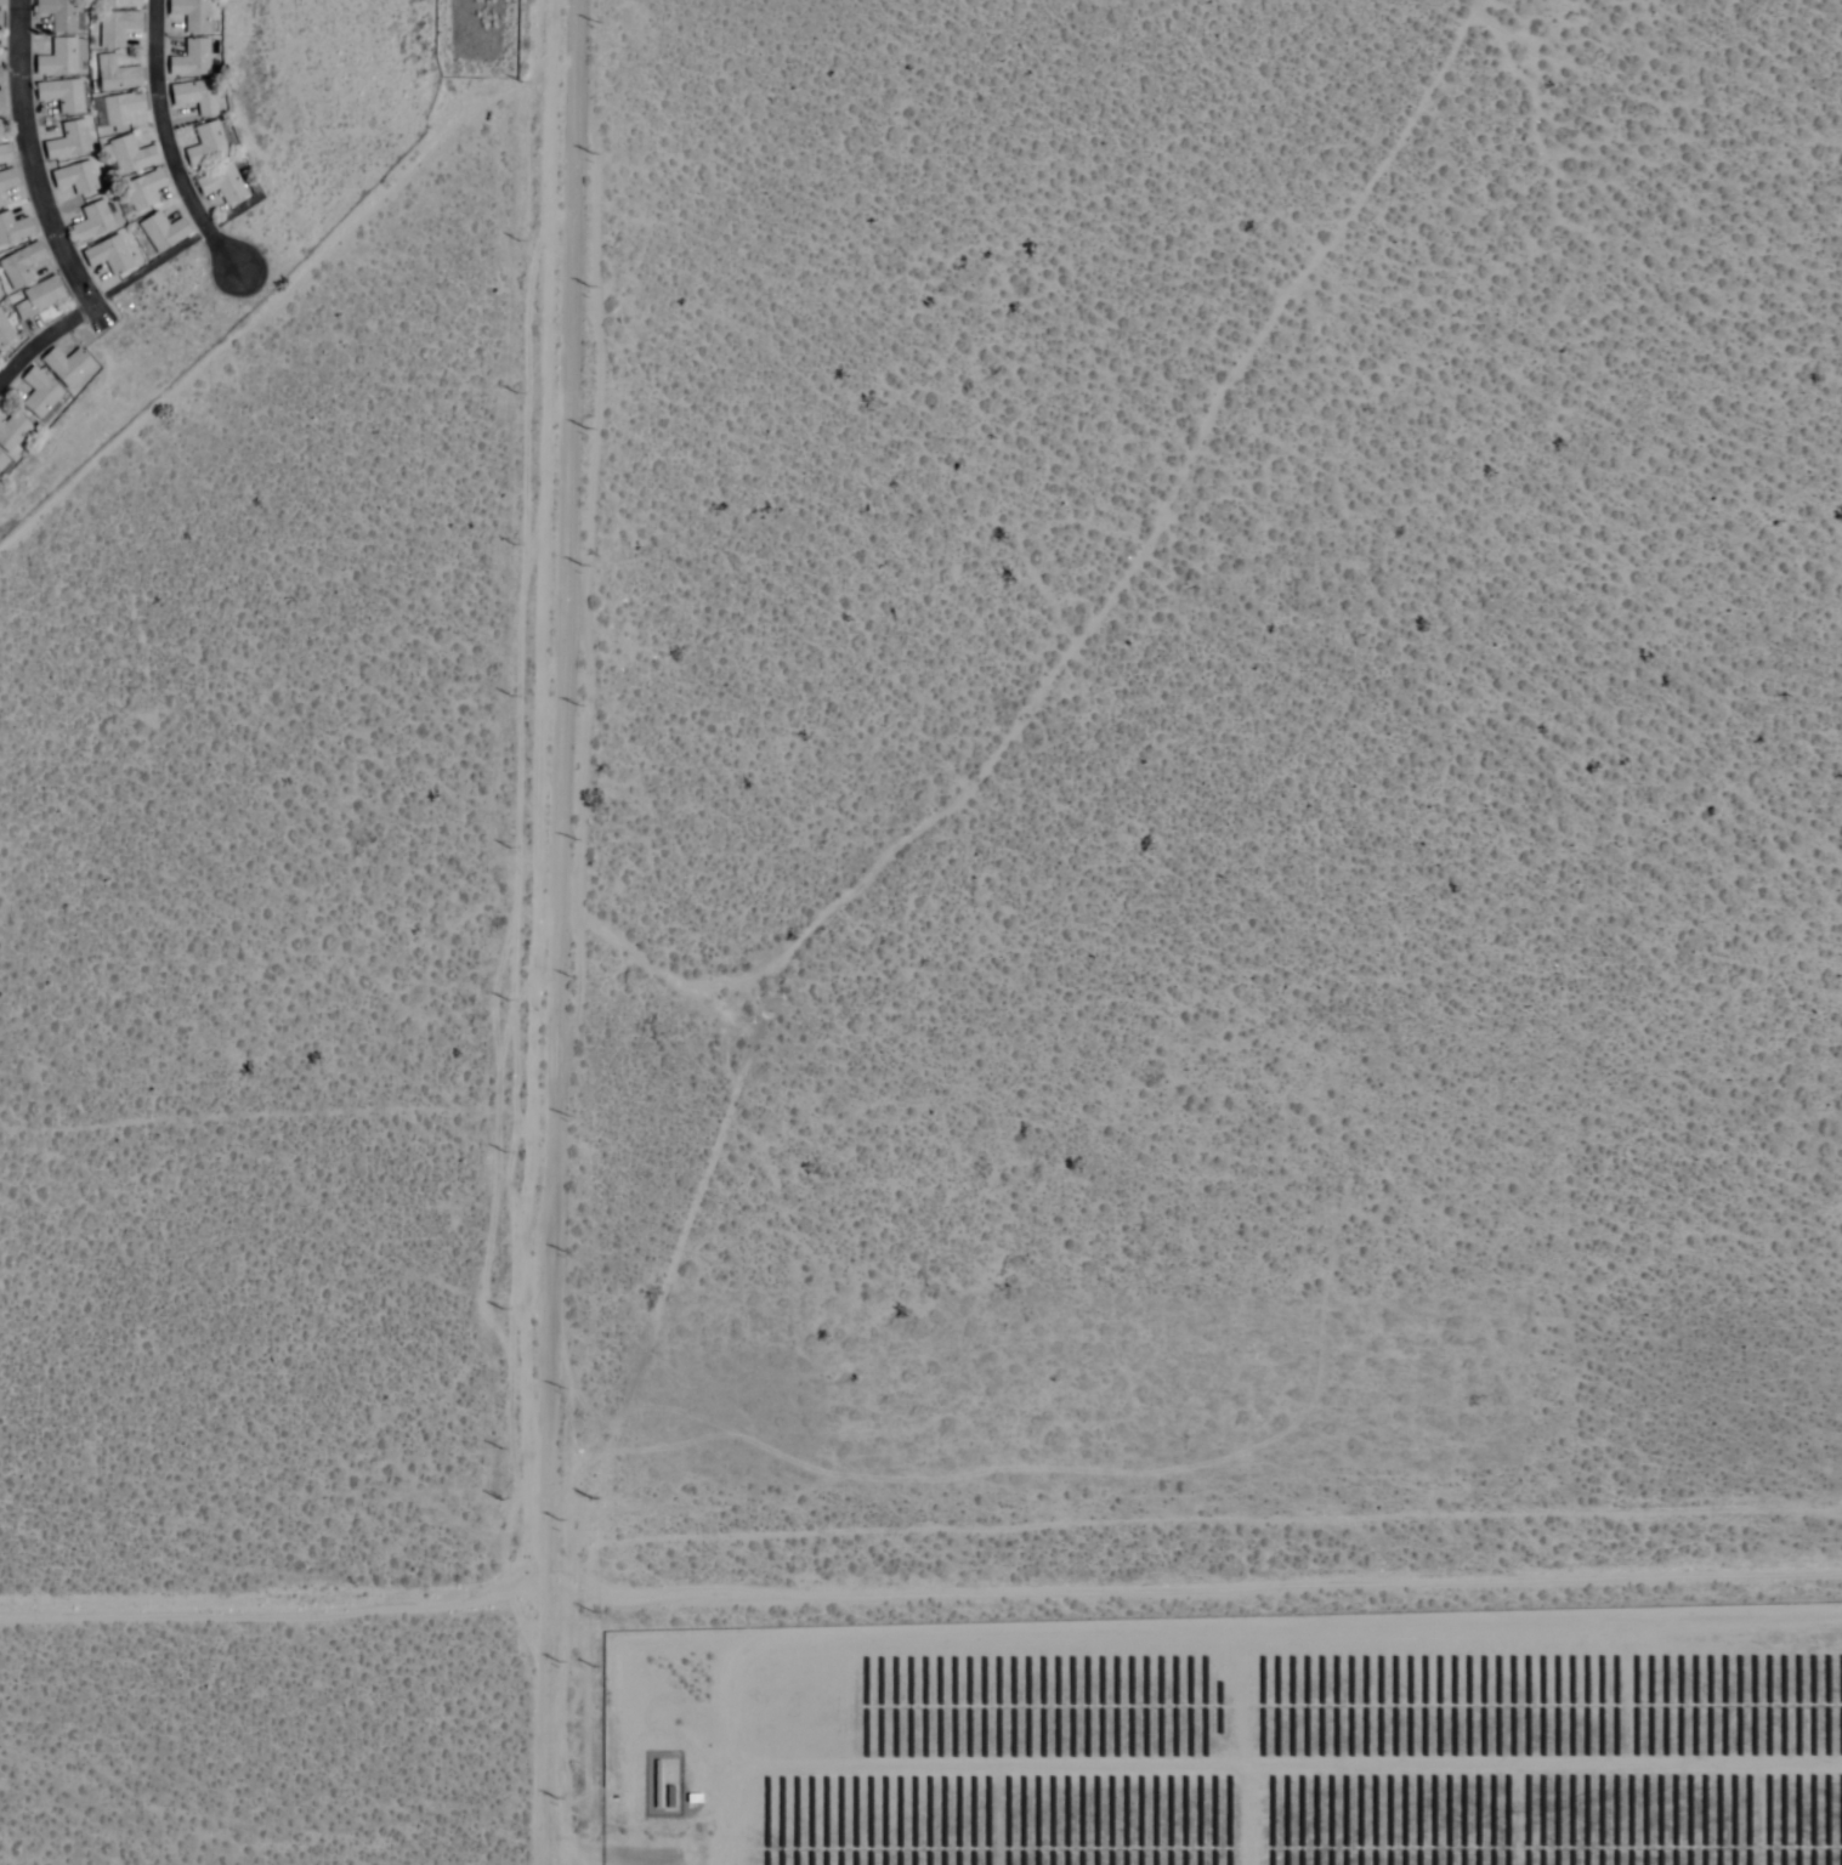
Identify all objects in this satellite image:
building: (1, 2)
building: (121, 4)
building: (61, 13)
building: (193, 15)
building: (511, 17)
building: (1, 21)
building: (118, 28)
building: (61, 59)
building: (191, 61)
building: (118, 75)
building: (1, 76)
building: (63, 96)
building: (197, 97)
building: (1, 102)
building: (121, 110)
building: (69, 142)
building: (208, 146)
road: (163, 147)
building: (6, 155)
building: (132, 157)
building: (76, 178)
building: (7, 183)
building: (223, 185)
building: (146, 191)
road: (39, 205)
building: (93, 222)
building: (15, 229)
building: (165, 233)
building: (110, 256)
building: (21, 266)
road: (96, 294)
building: (39, 300)
building: (5, 333)
building: (69, 368)
building: (42, 396)
building: (13, 433)
building: (2, 463)
road: (555, 932)
road: (639, 962)
road: (920, 1589)
solar farm: (1230, 1735)

